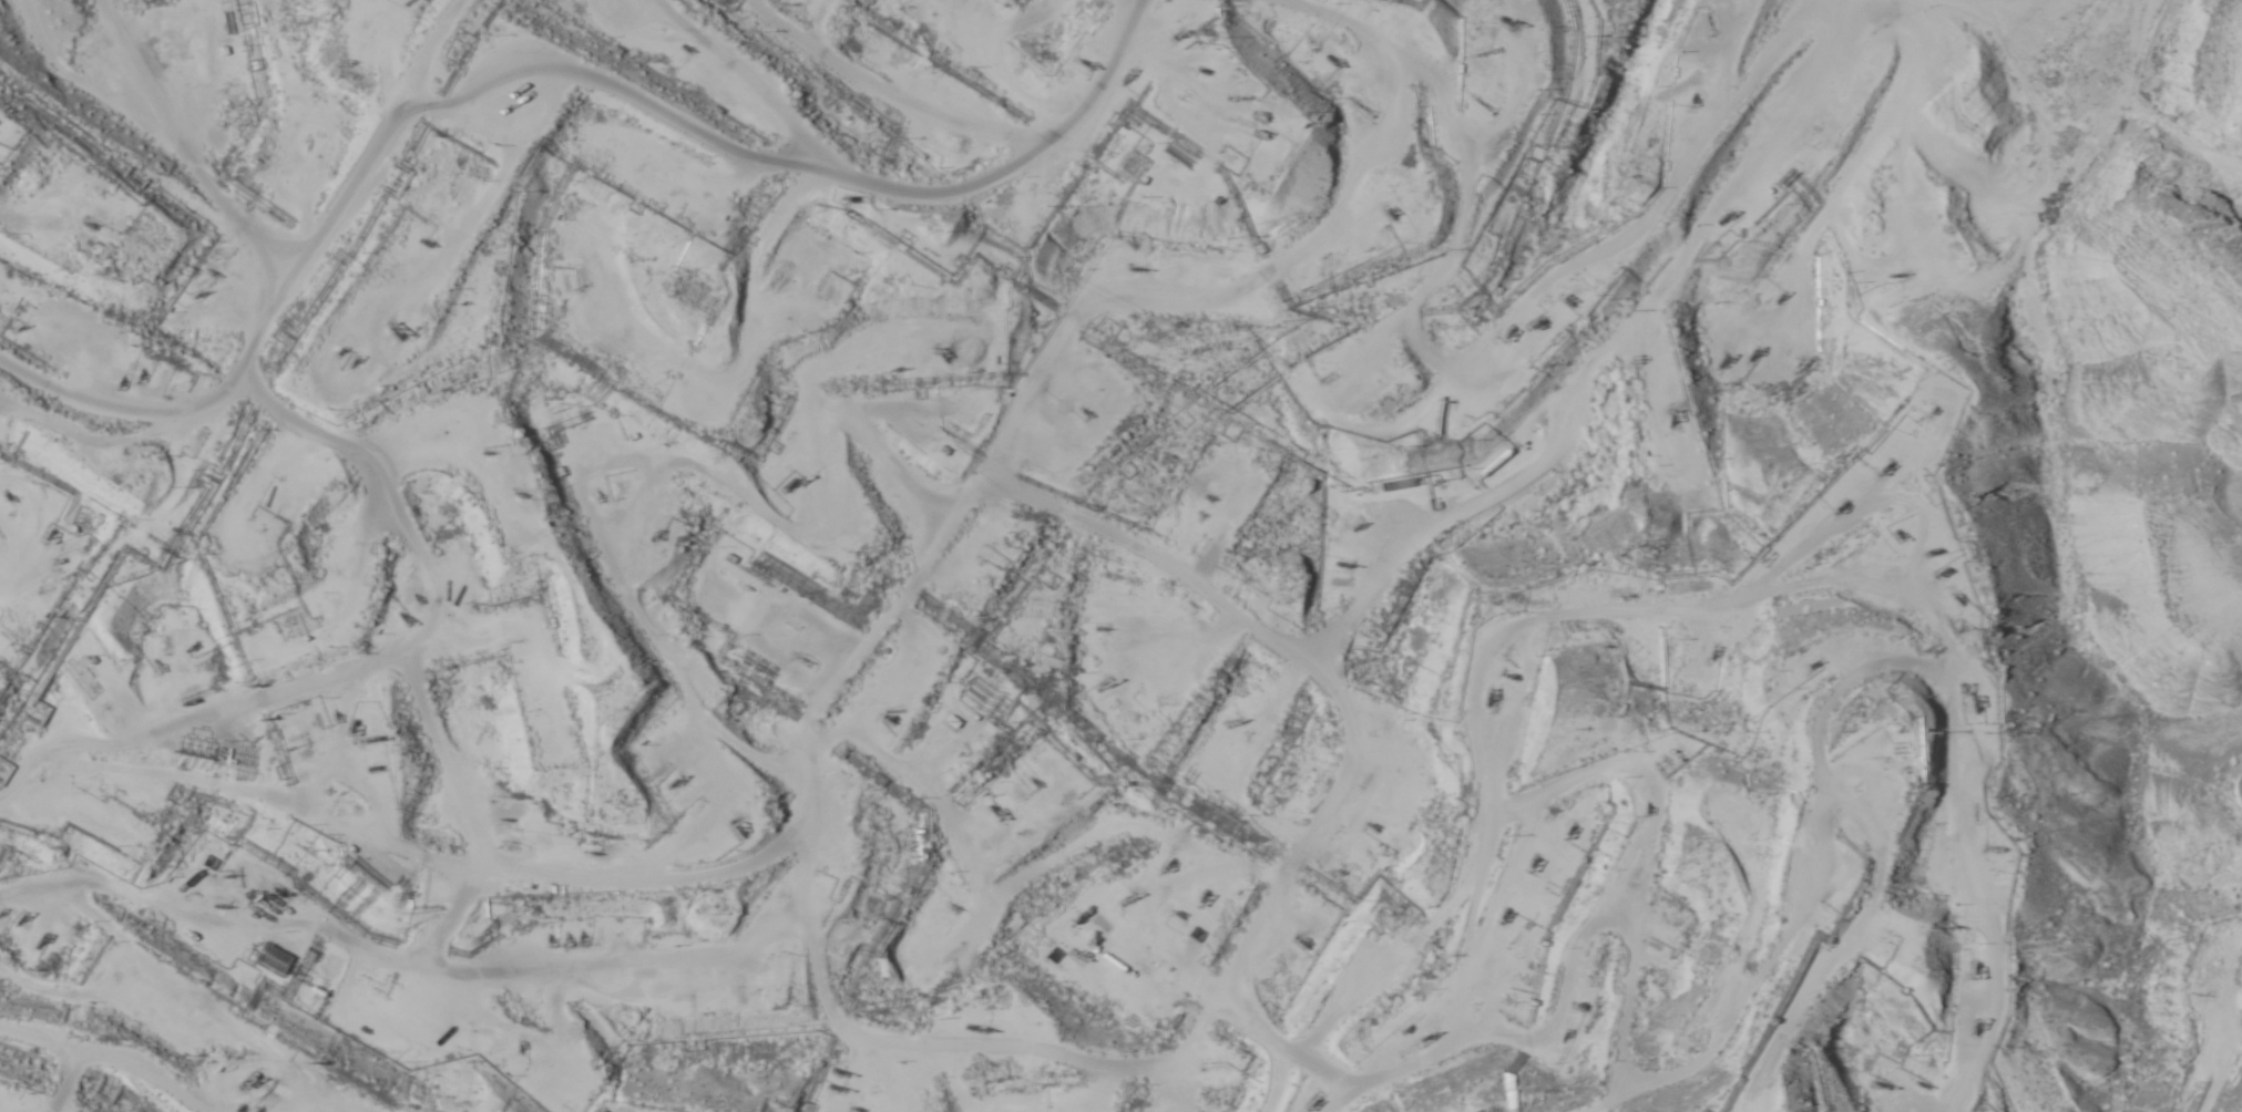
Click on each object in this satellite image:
building: (278, 959)
building: (1512, 1092)

